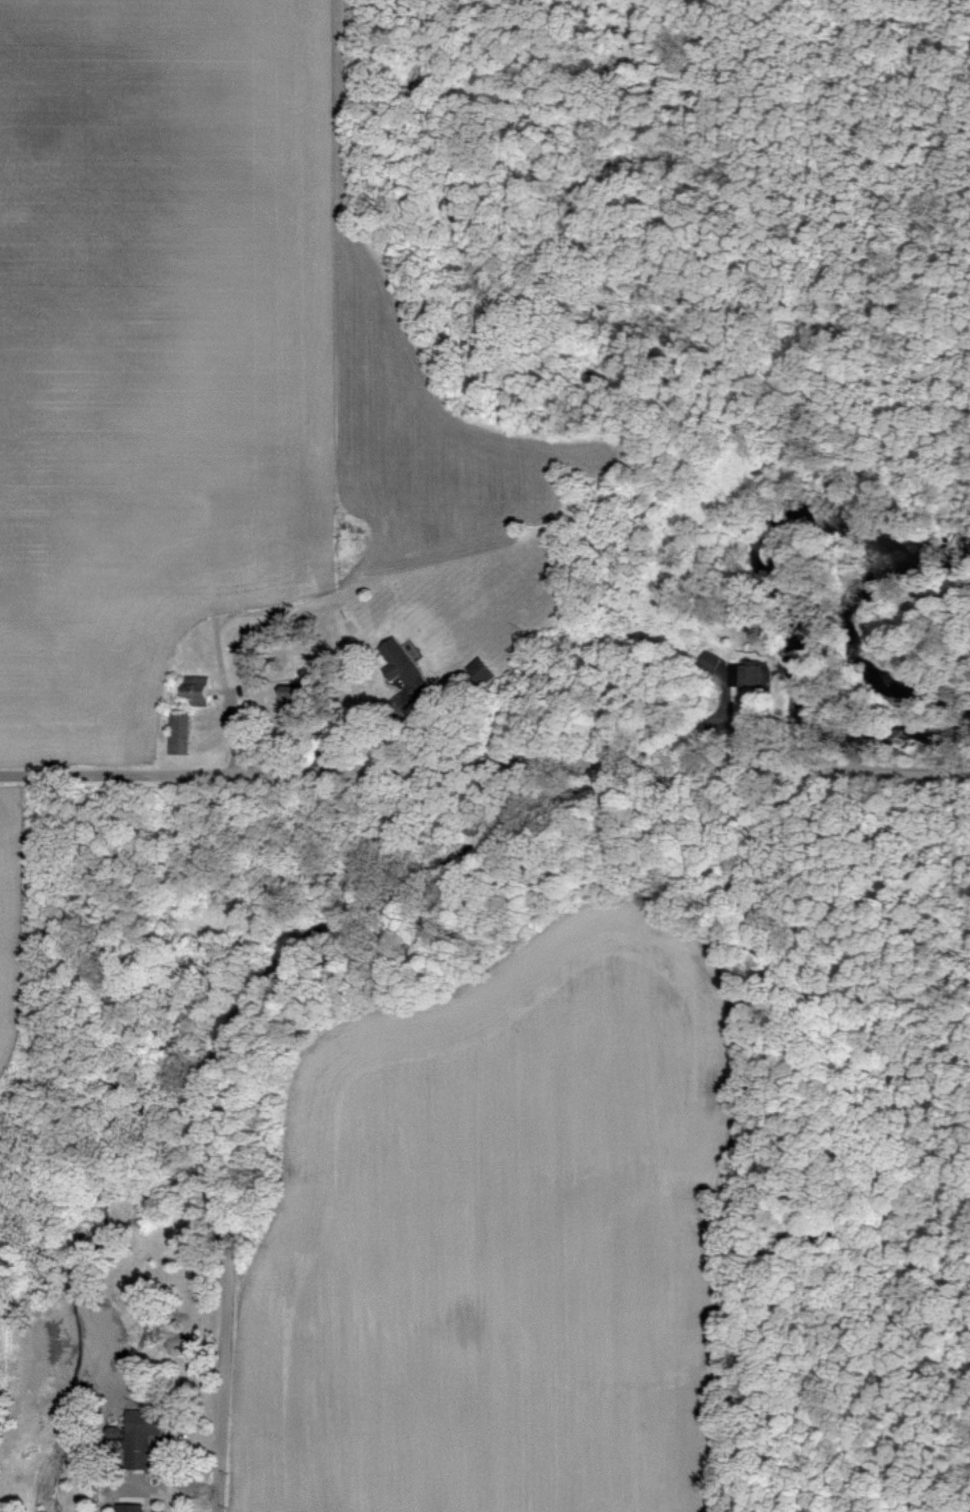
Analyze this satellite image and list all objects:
building: (404, 666)
building: (738, 690)
road: (484, 764)
road: (223, 1031)
building: (143, 1432)
building: (131, 1508)

